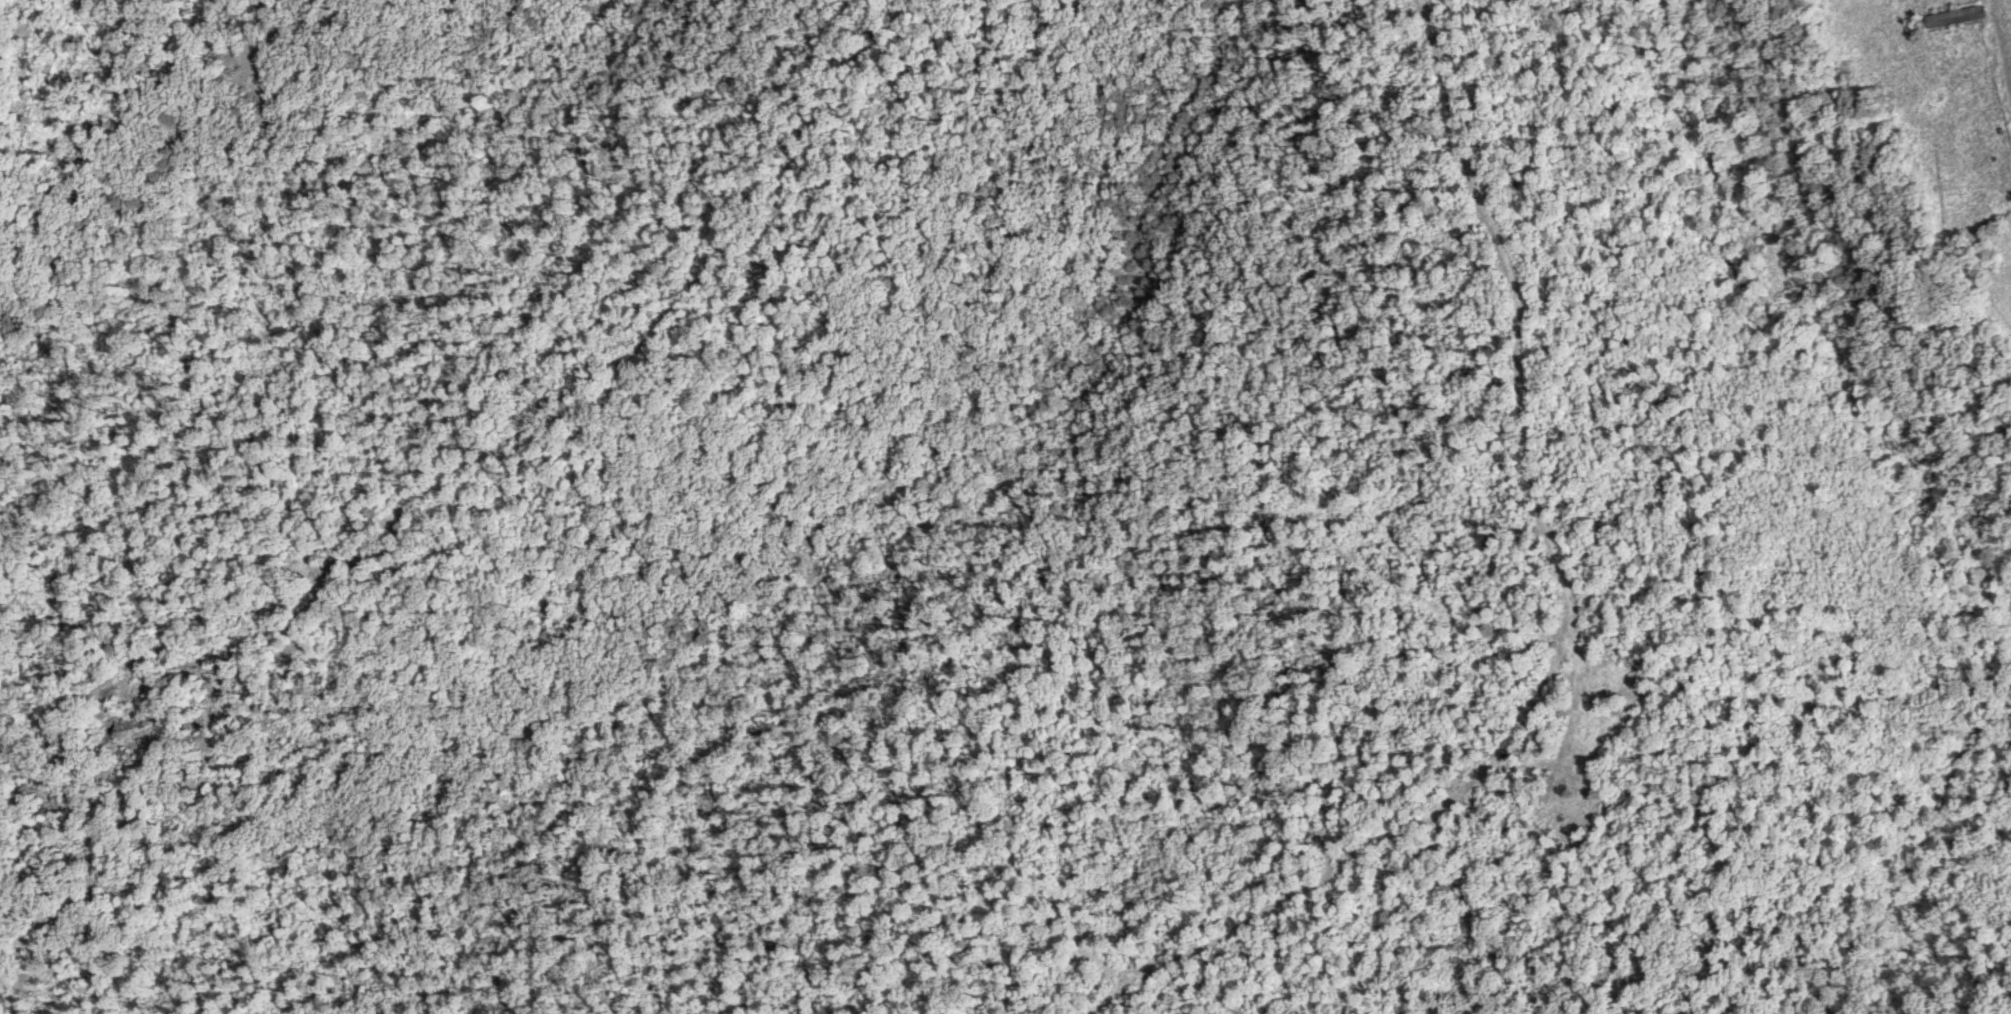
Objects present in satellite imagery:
building: (1951, 17)
road: (2001, 49)

